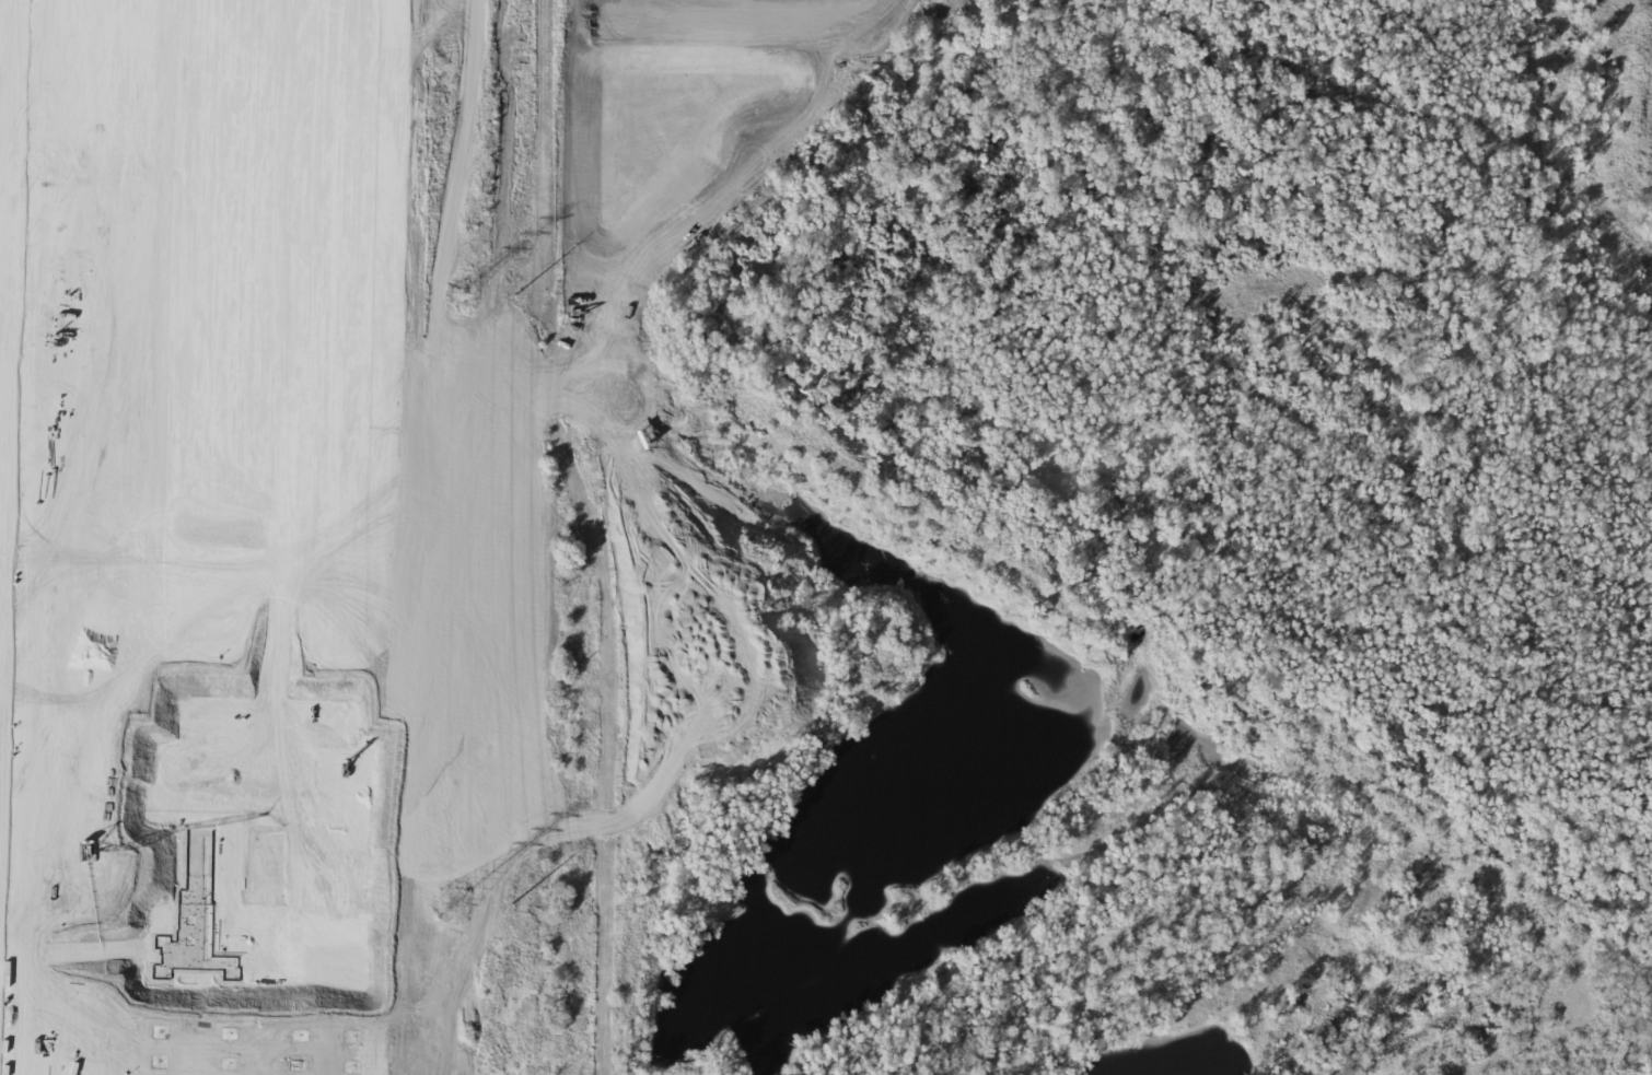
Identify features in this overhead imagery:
power tower: (513, 297)
power tower: (456, 299)
road: (548, 516)
road: (577, 523)
building: (184, 531)
road: (464, 534)
road: (420, 550)
power tower: (451, 899)
power tower: (509, 909)
road: (477, 1051)

